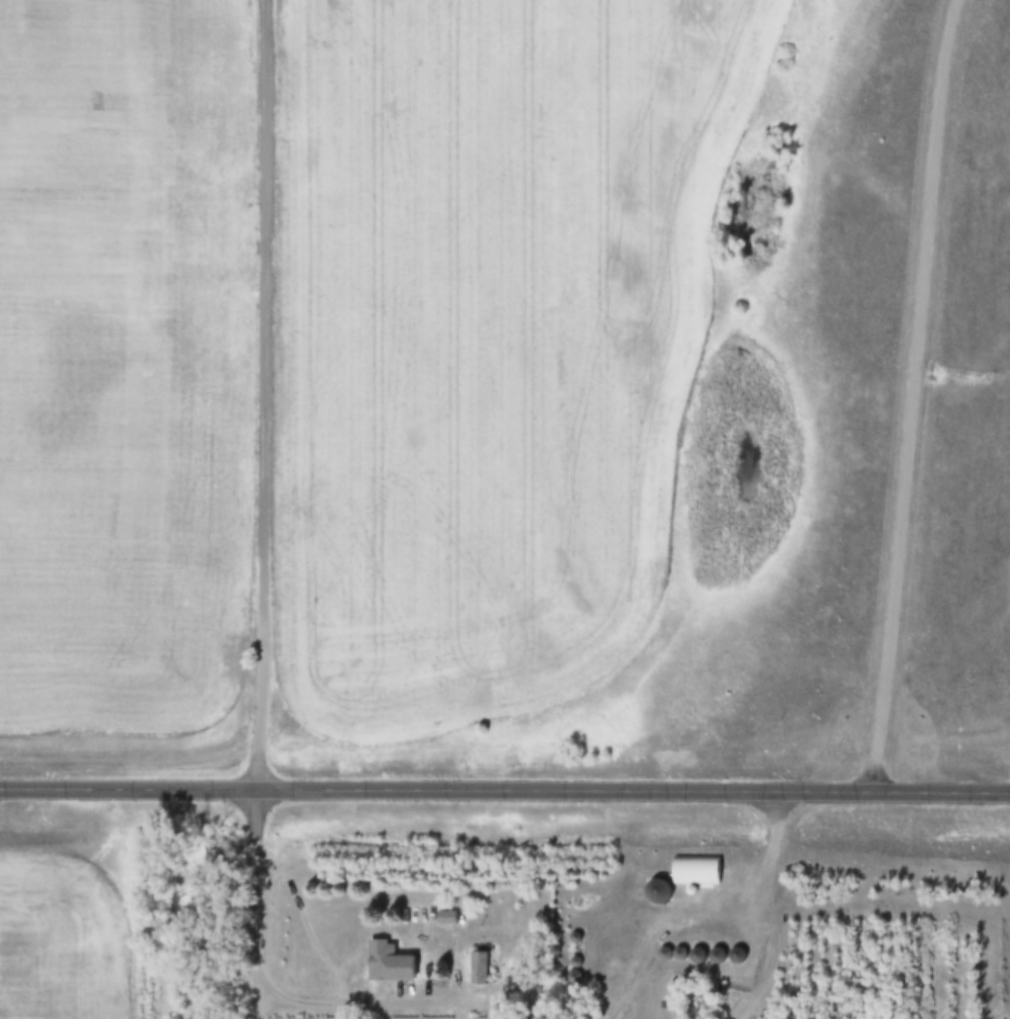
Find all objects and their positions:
road: (265, 394)
road: (911, 395)
road: (505, 788)
building: (699, 870)
building: (662, 892)
road: (763, 904)
building: (450, 918)
building: (576, 939)
building: (393, 963)
building: (481, 968)
road: (256, 971)
building: (577, 979)
road: (259, 1004)
building: (465, 1015)

